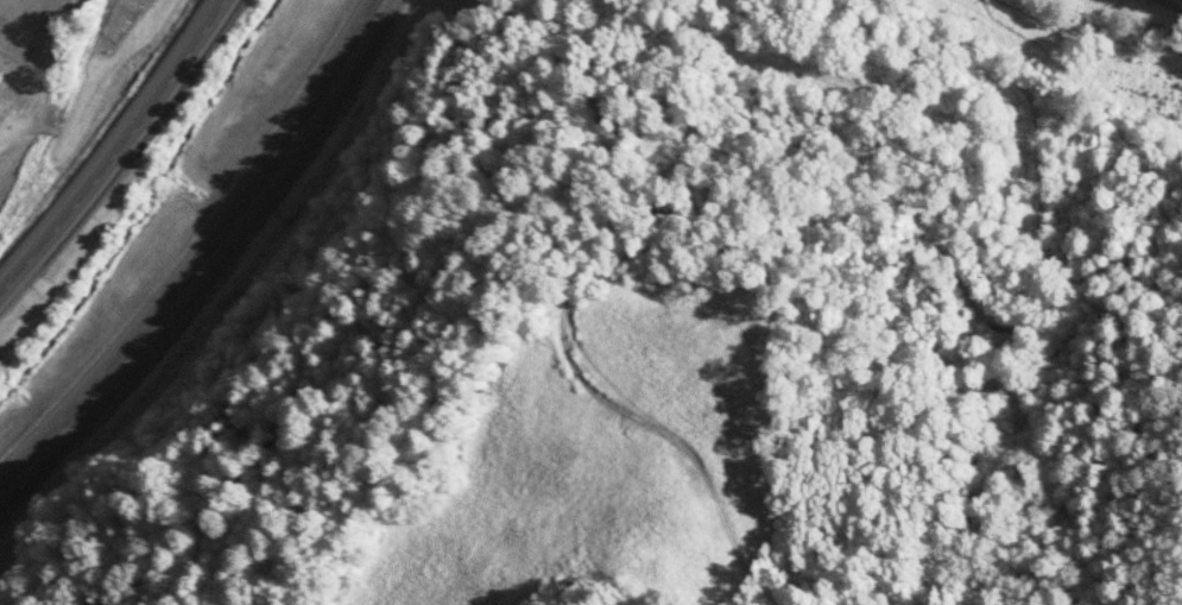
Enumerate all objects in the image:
road: (113, 145)
road: (197, 250)

